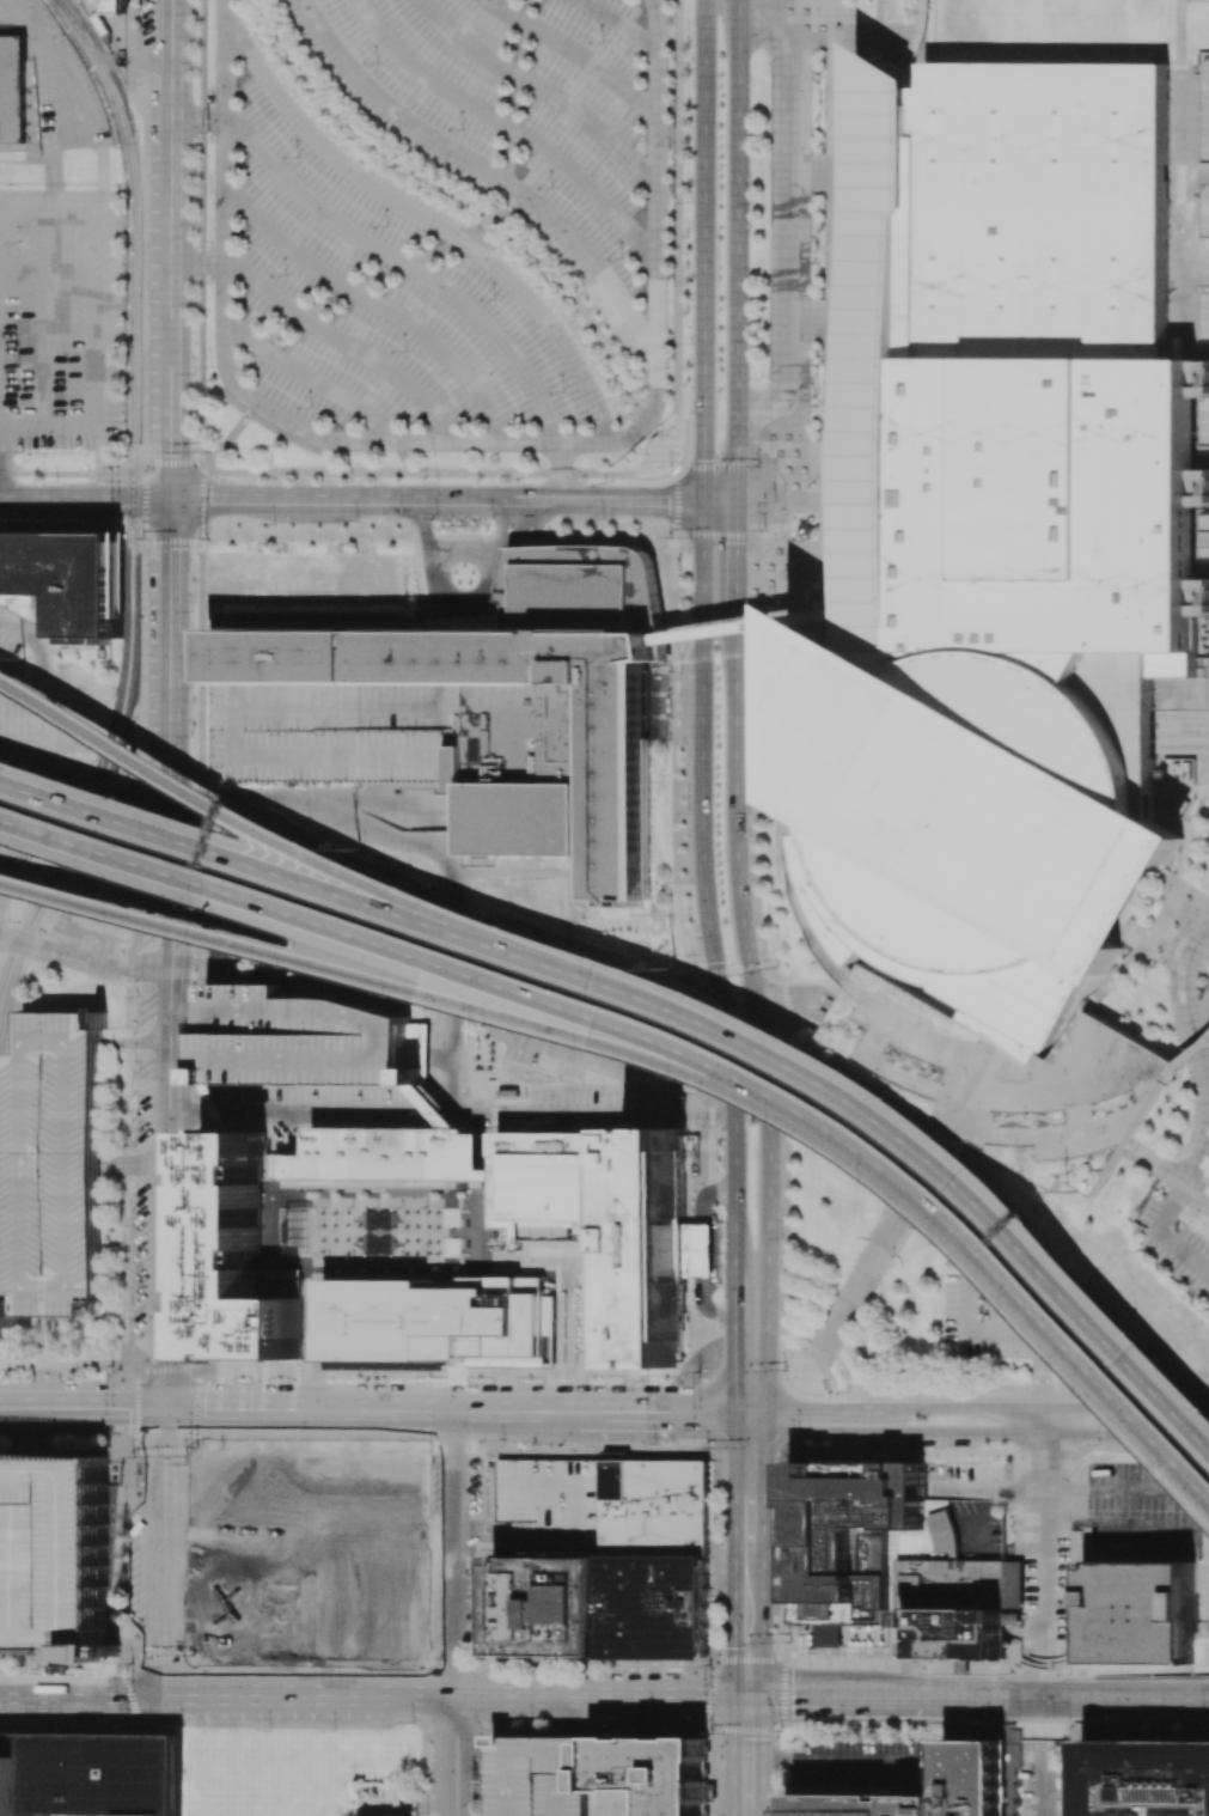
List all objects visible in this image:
building: (112, 5)
road: (177, 8)
road: (878, 11)
road: (619, 24)
road: (1183, 32)
building: (917, 35)
road: (920, 35)
road: (574, 53)
road: (538, 87)
building: (13, 89)
road: (200, 116)
road: (507, 126)
road: (481, 166)
road: (175, 178)
parking lot: (1202, 209)
parking lot: (442, 212)
road: (488, 215)
road: (429, 221)
road: (782, 221)
road: (677, 234)
road: (476, 236)
road: (737, 250)
road: (199, 262)
road: (405, 263)
road: (375, 303)
parking lot: (60, 318)
road: (92, 323)
road: (44, 324)
road: (346, 342)
building: (1174, 346)
road: (311, 379)
road: (175, 420)
railway: (130, 431)
road: (231, 435)
road: (453, 441)
traffic signals: (702, 461)
road: (1, 467)
road: (707, 467)
road: (207, 468)
road: (561, 471)
road: (677, 485)
road: (86, 499)
traffic signals: (173, 500)
road: (454, 500)
traffic signals: (667, 501)
building: (1008, 541)
traffic signals: (737, 543)
road: (735, 556)
road: (173, 575)
building: (68, 580)
road: (759, 634)
road: (701, 636)
power tower: (23, 657)
building: (474, 712)
street lamp: (133, 743)
parking lot: (1186, 744)
road: (191, 762)
road: (324, 762)
road: (83, 787)
street lamp: (221, 797)
street lamp: (124, 798)
road: (786, 799)
stadium: (972, 827)
street lamp: (10, 842)
street lamp: (307, 843)
power tower: (355, 849)
street lamp: (408, 888)
road: (88, 891)
parking lot: (94, 903)
street lamp: (199, 906)
road: (106, 914)
railway: (25, 919)
street lamp: (115, 921)
street lamp: (509, 927)
road: (68, 940)
railway: (20, 944)
road: (171, 958)
street lamp: (602, 958)
road: (84, 961)
street lamp: (283, 967)
power tower: (676, 968)
road: (450, 991)
street lamp: (695, 992)
road: (436, 994)
street lamp: (391, 995)
road: (187, 1003)
road: (1208, 1004)
road: (1208, 1006)
road: (1186, 1008)
road: (1197, 1008)
road: (187, 1013)
road: (755, 1014)
street lamp: (496, 1024)
road: (416, 1031)
road: (438, 1031)
building: (298, 1038)
parking garage: (298, 1038)
street lamp: (795, 1040)
road: (134, 1042)
building: (416, 1047)
street lamp: (587, 1048)
road: (416, 1056)
road: (438, 1056)
road: (1187, 1060)
road: (1207, 1067)
street lamp: (682, 1078)
street lamp: (889, 1098)
parking lot: (315, 1101)
parking lot: (604, 1103)
building: (433, 1105)
building: (224, 1107)
road: (196, 1113)
road: (226, 1113)
road: (331, 1113)
road: (441, 1114)
road: (591, 1115)
street lamp: (778, 1122)
road: (935, 1123)
building: (477, 1129)
road: (1118, 1147)
road: (1201, 1147)
building: (387, 1154)
road: (28, 1164)
road: (75, 1164)
road: (1155, 1164)
road: (39, 1165)
parking garage: (51, 1165)
road: (63, 1165)
road: (86, 1165)
road: (134, 1165)
building: (51, 1166)
street lamp: (868, 1182)
building: (2, 1183)
building: (371, 1183)
road: (1196, 1188)
power tower: (1071, 1192)
street lamp: (1032, 1220)
building: (610, 1227)
building: (893, 1227)
building: (295, 1232)
building: (506, 1235)
road: (1160, 1236)
flagpole: (493, 1241)
road: (871, 1242)
street lamp: (941, 1243)
flagpole: (494, 1247)
building: (698, 1249)
parking lot: (1174, 1249)
road: (702, 1253)
building: (238, 1257)
building: (590, 1260)
parking lot: (713, 1284)
street lamp: (1010, 1314)
building: (2, 1321)
street lamp: (1142, 1336)
road: (167, 1339)
road: (734, 1343)
traffic signals: (734, 1363)
street lamp: (783, 1369)
street lamp: (698, 1372)
road: (740, 1372)
street lamp: (999, 1388)
street lamp: (848, 1391)
street lamp: (1087, 1394)
road: (822, 1401)
traffic signals: (810, 1406)
road: (820, 1406)
road: (1052, 1407)
road: (702, 1409)
road: (6, 1412)
road: (88, 1412)
traffic signals: (166, 1412)
road: (225, 1412)
road: (368, 1414)
road: (514, 1414)
road: (660, 1415)
traffic signals: (692, 1415)
road: (795, 1420)
road: (978, 1432)
road: (454, 1433)
street lamp: (502, 1443)
street lamp: (654, 1444)
street lamp: (1098, 1445)
street lamp: (706, 1446)
street lamp: (806, 1448)
road: (686, 1449)
road: (749, 1454)
road: (794, 1454)
traffic signals: (746, 1457)
street lamp: (1161, 1471)
road: (416, 1475)
road: (166, 1479)
road: (454, 1486)
parking lot: (471, 1486)
road: (746, 1486)
road: (1067, 1486)
road: (1147, 1488)
building: (552, 1503)
parking garage: (552, 1503)
building: (653, 1509)
road: (1045, 1528)
building: (976, 1529)
road: (453, 1534)
building: (944, 1534)
road: (434, 1536)
road: (523, 1536)
building: (847, 1536)
road: (1207, 1544)
parking lot: (316, 1548)
building: (49, 1553)
parking lot: (49, 1553)
road: (230, 1553)
road: (283, 1553)
road: (332, 1554)
road: (387, 1554)
chimney: (1095, 1564)
building: (1013, 1584)
road: (453, 1602)
building: (545, 1607)
building: (652, 1607)
building: (954, 1607)
building: (1138, 1613)
road: (414, 1615)
building: (1012, 1619)
road: (166, 1620)
road: (746, 1627)
road: (1025, 1634)
street lamp: (790, 1639)
chimney: (1007, 1644)
traffic signals: (746, 1647)
building: (914, 1647)
building: (960, 1666)
road: (453, 1675)
road: (32, 1693)
road: (96, 1693)
road: (146, 1694)
traffic signals: (165, 1694)
road: (309, 1694)
road: (599, 1696)
traffic signals: (794, 1698)
road: (800, 1698)
road: (894, 1698)
road: (1013, 1699)
road: (1136, 1699)
road: (1195, 1699)
street lamp: (1119, 1721)
street lamp: (712, 1732)
traffic signals: (746, 1738)
road: (452, 1755)
road: (746, 1755)
road: (824, 1762)
building: (987, 1769)
building: (90, 1773)
building: (543, 1777)
parking lot: (543, 1777)
building: (648, 1777)
building: (1146, 1778)
parking lot: (1043, 1779)
road: (906, 1780)
road: (1045, 1787)
road: (909, 1805)
road: (747, 1814)
building: (221, 1815)

